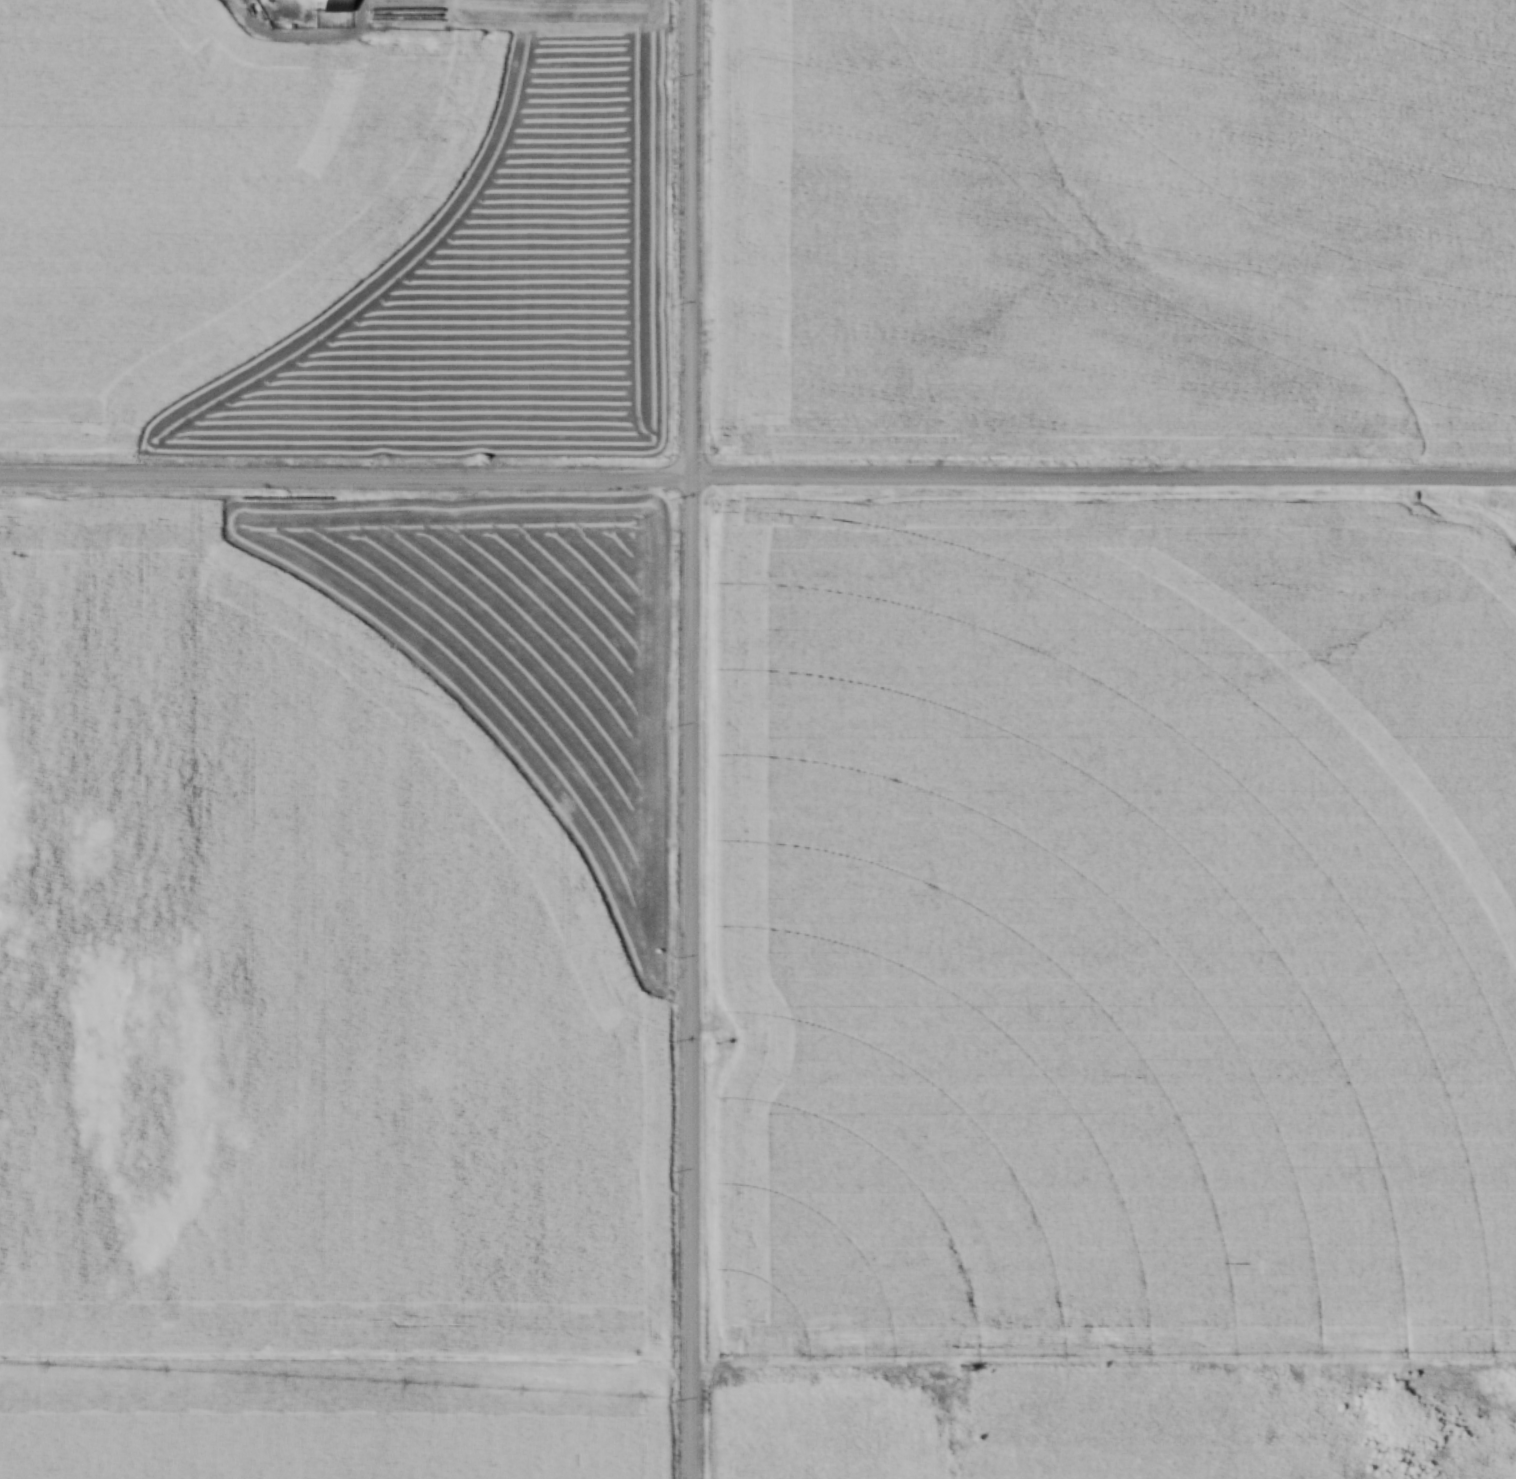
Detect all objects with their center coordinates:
building: (331, 0)
road: (757, 477)
road: (692, 739)

